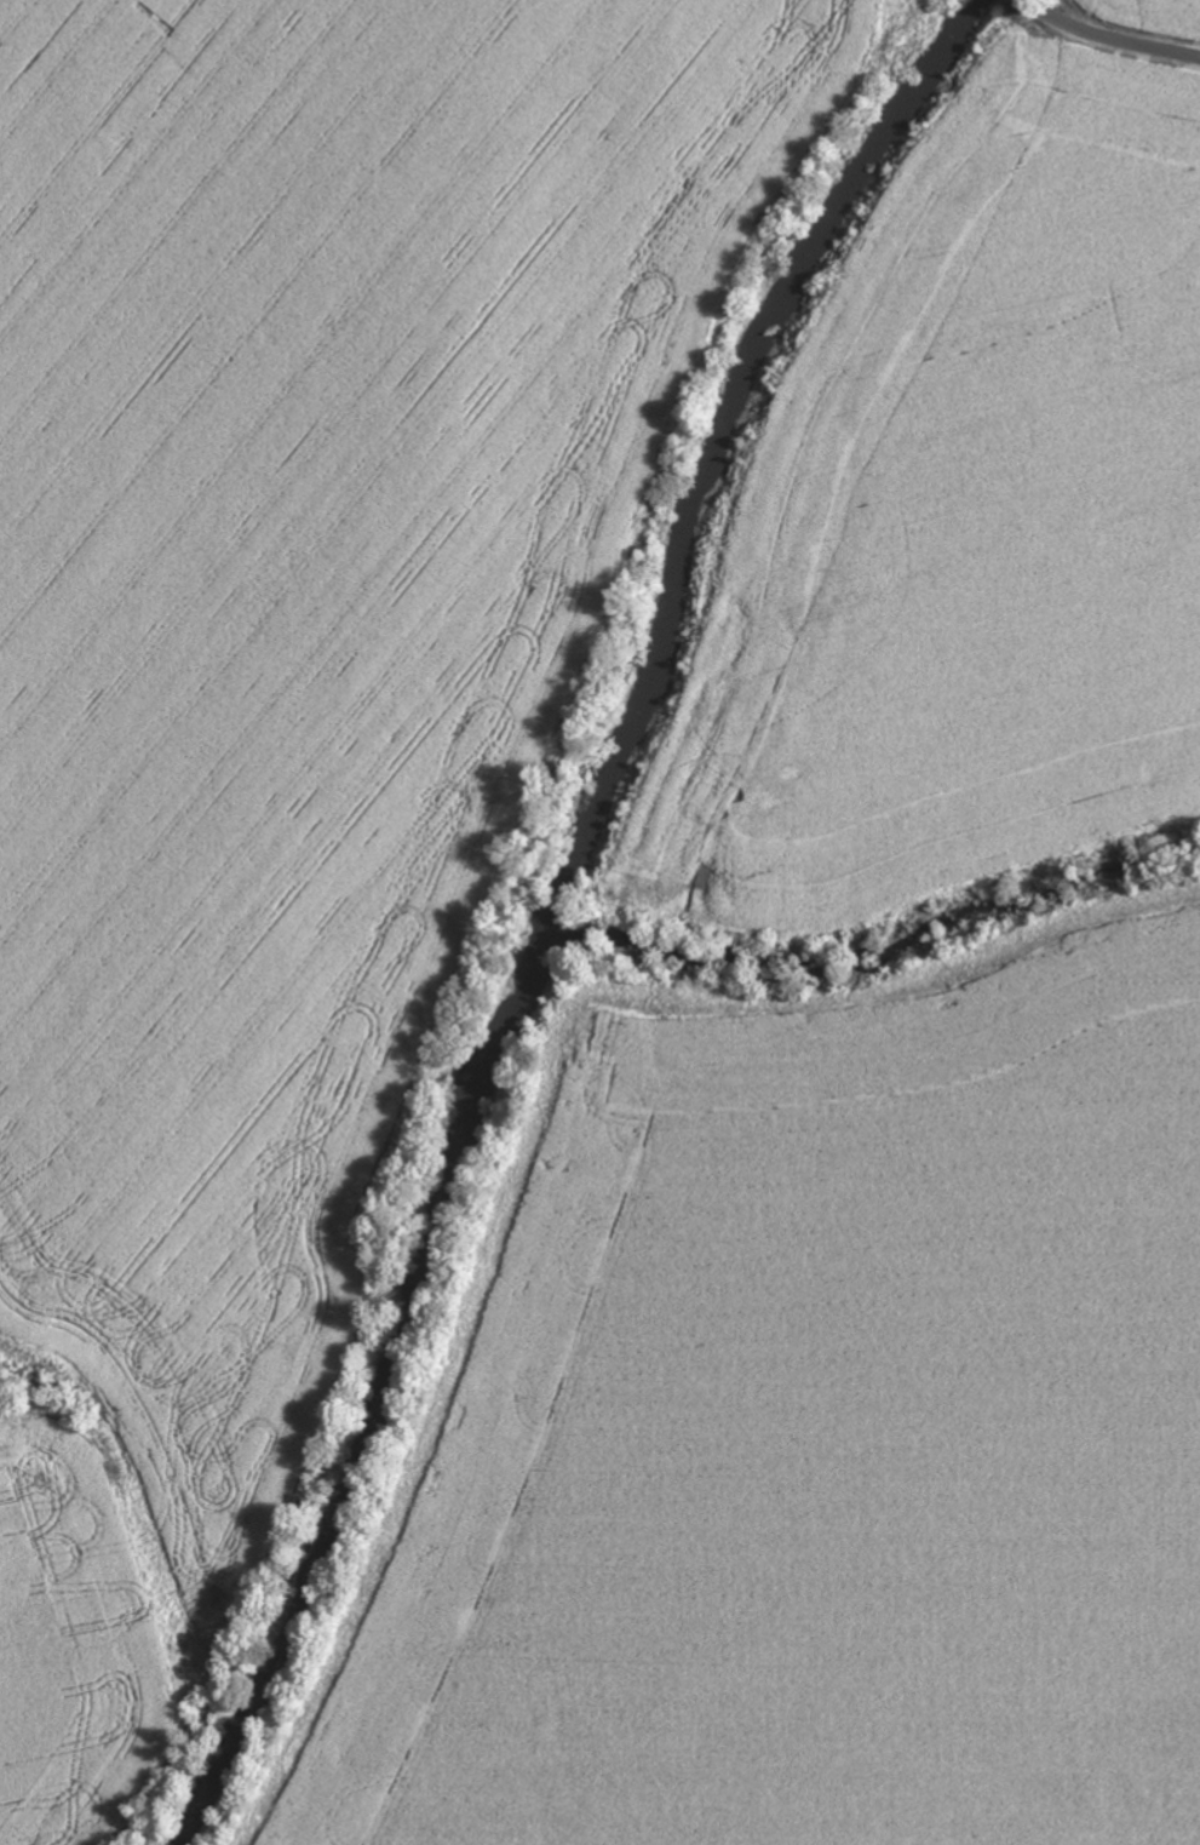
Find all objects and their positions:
road: (1109, 39)

